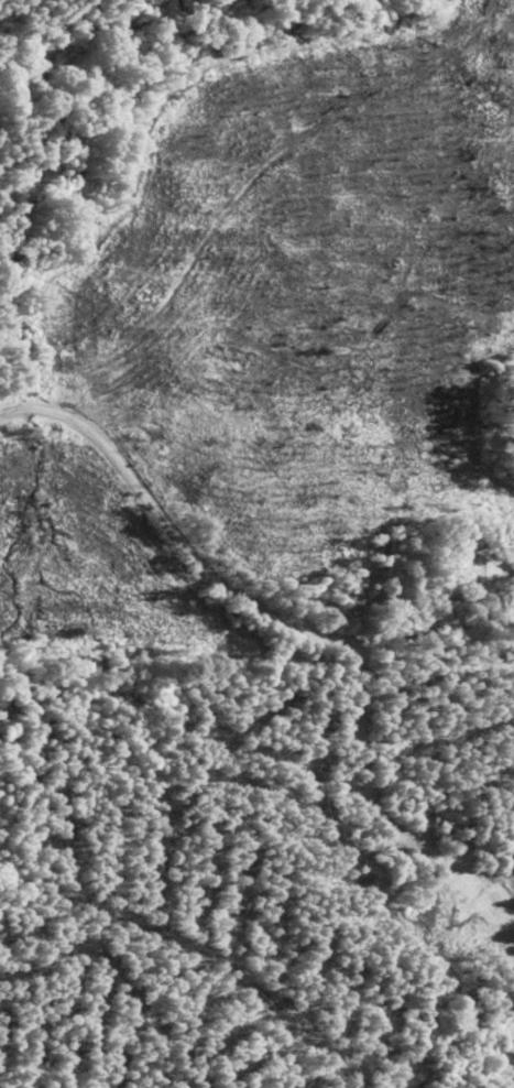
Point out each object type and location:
road: (231, 644)

